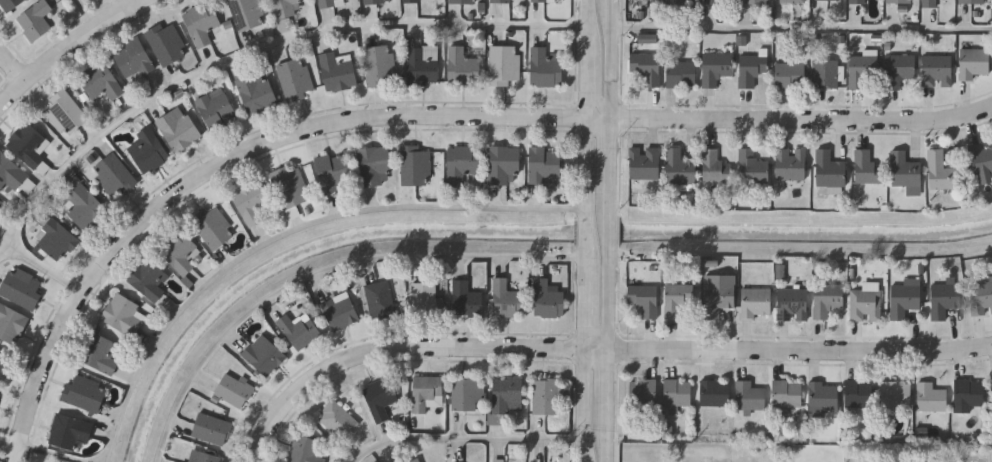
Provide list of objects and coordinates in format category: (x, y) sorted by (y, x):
building: (548, 0)
building: (651, 0)
building: (829, 0)
building: (380, 1)
building: (412, 1)
building: (466, 1)
building: (502, 1)
building: (793, 1)
building: (899, 1)
building: (675, 2)
building: (719, 2)
building: (755, 2)
building: (858, 2)
building: (972, 2)
building: (331, 3)
building: (11, 4)
building: (930, 4)
road: (615, 6)
building: (289, 7)
building: (247, 13)
road: (87, 15)
building: (36, 20)
building: (202, 23)
building: (285, 25)
road: (803, 28)
road: (588, 29)
building: (648, 38)
building: (168, 43)
road: (69, 49)
road: (257, 50)
building: (135, 59)
road: (15, 62)
building: (973, 63)
building: (424, 64)
building: (505, 64)
building: (380, 65)
building: (464, 65)
road: (614, 65)
building: (545, 67)
building: (646, 68)
building: (715, 68)
building: (899, 70)
building: (338, 71)
building: (751, 71)
building: (937, 71)
building: (864, 72)
building: (826, 73)
building: (681, 75)
building: (790, 76)
building: (295, 78)
building: (102, 81)
road: (587, 88)
building: (258, 90)
building: (217, 108)
building: (66, 112)
road: (415, 114)
building: (180, 128)
building: (29, 144)
building: (149, 149)
building: (463, 163)
road: (585, 163)
road: (613, 164)
building: (645, 164)
building: (982, 164)
building: (416, 165)
building: (504, 165)
building: (546, 165)
building: (376, 166)
building: (791, 166)
building: (714, 167)
building: (679, 168)
building: (752, 168)
building: (866, 168)
building: (829, 171)
building: (905, 171)
building: (335, 172)
building: (941, 172)
building: (10, 175)
building: (115, 176)
building: (290, 187)
building: (252, 201)
building: (87, 207)
building: (214, 227)
road: (585, 232)
road: (611, 233)
road: (287, 234)
building: (57, 239)
building: (180, 251)
road: (44, 268)
road: (321, 269)
building: (149, 279)
building: (22, 287)
building: (547, 297)
building: (720, 297)
building: (381, 298)
building: (425, 298)
building: (465, 298)
building: (505, 298)
building: (905, 299)
building: (644, 300)
building: (677, 300)
building: (827, 300)
building: (944, 300)
building: (981, 300)
road: (584, 302)
road: (610, 303)
building: (755, 303)
building: (866, 304)
building: (793, 305)
building: (339, 309)
building: (124, 315)
building: (11, 323)
building: (297, 328)
road: (597, 350)
building: (100, 352)
building: (262, 353)
building: (3, 364)
road: (609, 387)
building: (233, 389)
building: (991, 390)
building: (425, 392)
building: (465, 392)
building: (85, 393)
building: (506, 393)
building: (644, 393)
building: (678, 393)
building: (715, 393)
building: (544, 395)
building: (787, 395)
building: (858, 395)
building: (896, 395)
building: (968, 395)
building: (379, 396)
building: (751, 396)
building: (823, 397)
building: (931, 399)
road: (583, 406)
building: (337, 418)
building: (210, 427)
building: (71, 431)
road: (471, 439)
road: (608, 442)
building: (303, 448)
road: (51, 453)
building: (205, 456)
building: (414, 460)
building: (182, 461)
building: (498, 461)

